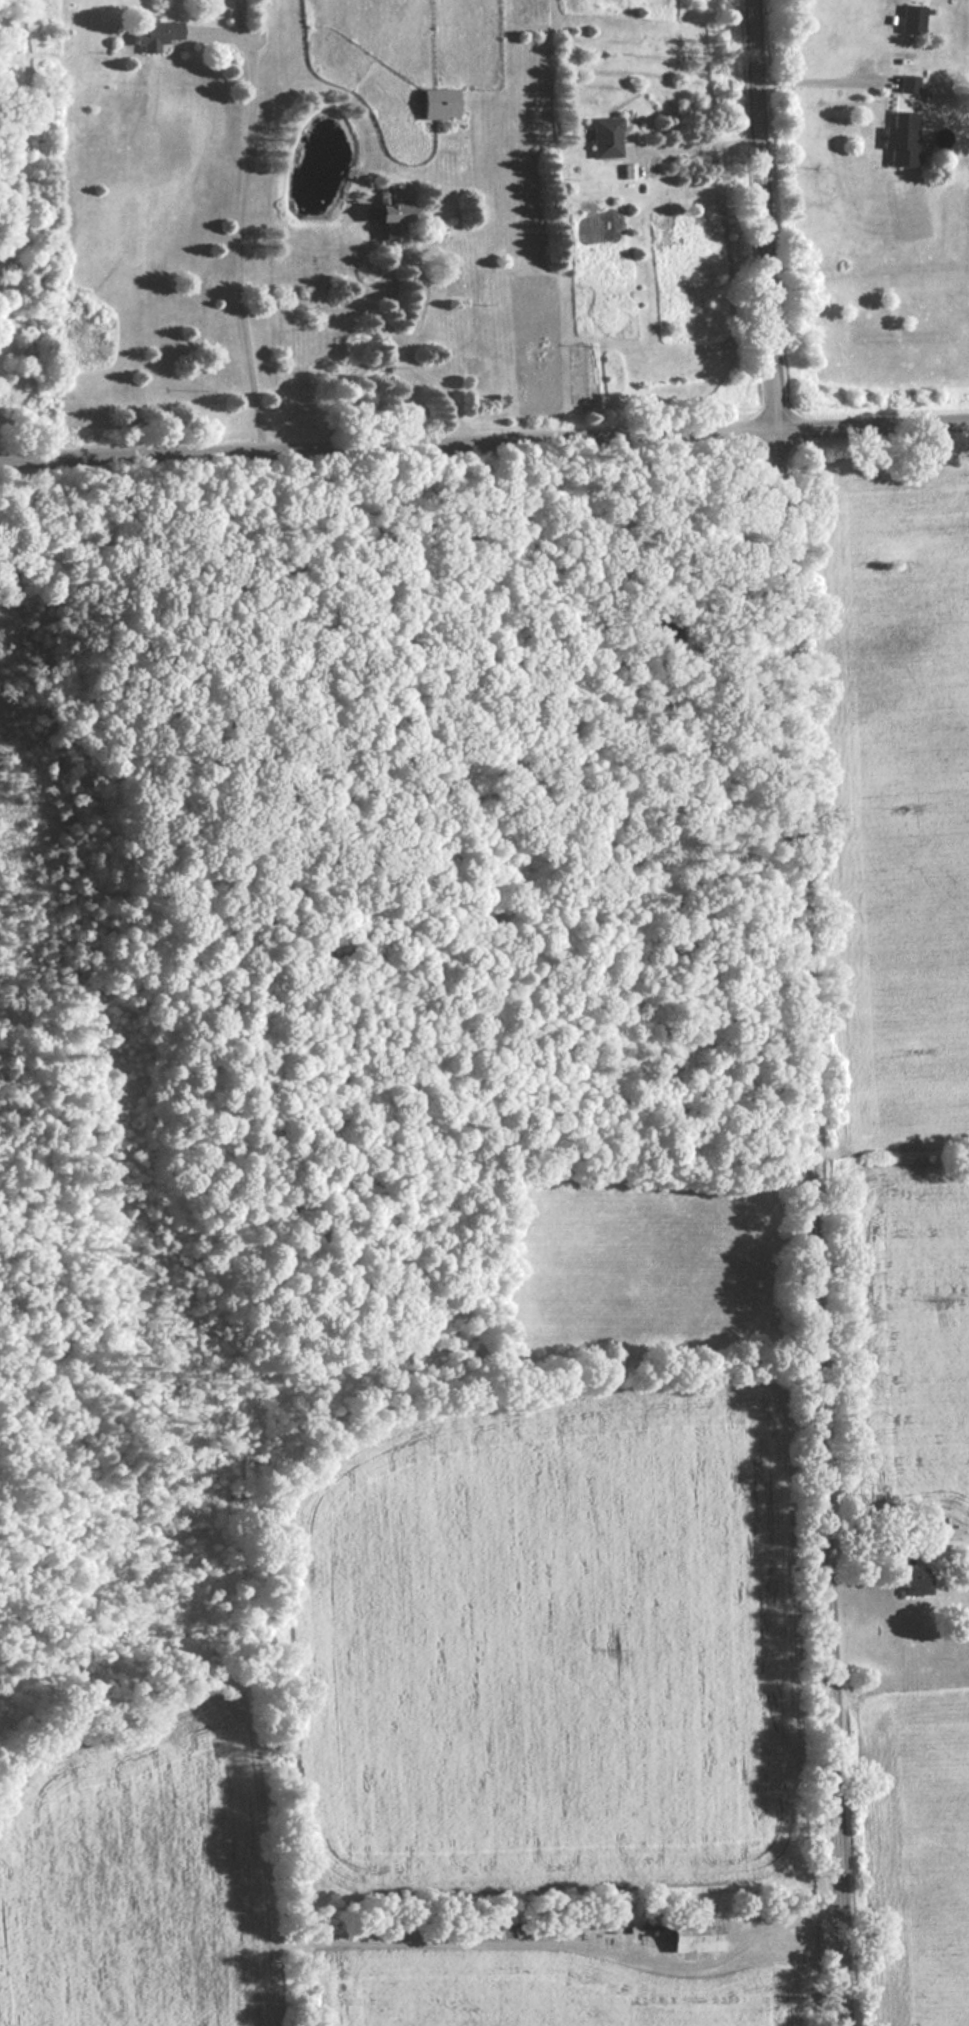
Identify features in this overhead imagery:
building: (909, 18)
building: (155, 32)
road: (819, 75)
building: (904, 82)
building: (436, 102)
building: (603, 136)
building: (898, 138)
road: (697, 142)
road: (244, 218)
building: (387, 218)
building: (452, 280)
road: (409, 349)
road: (484, 432)
road: (801, 1013)
building: (917, 1579)
road: (761, 1927)
building: (697, 1933)

